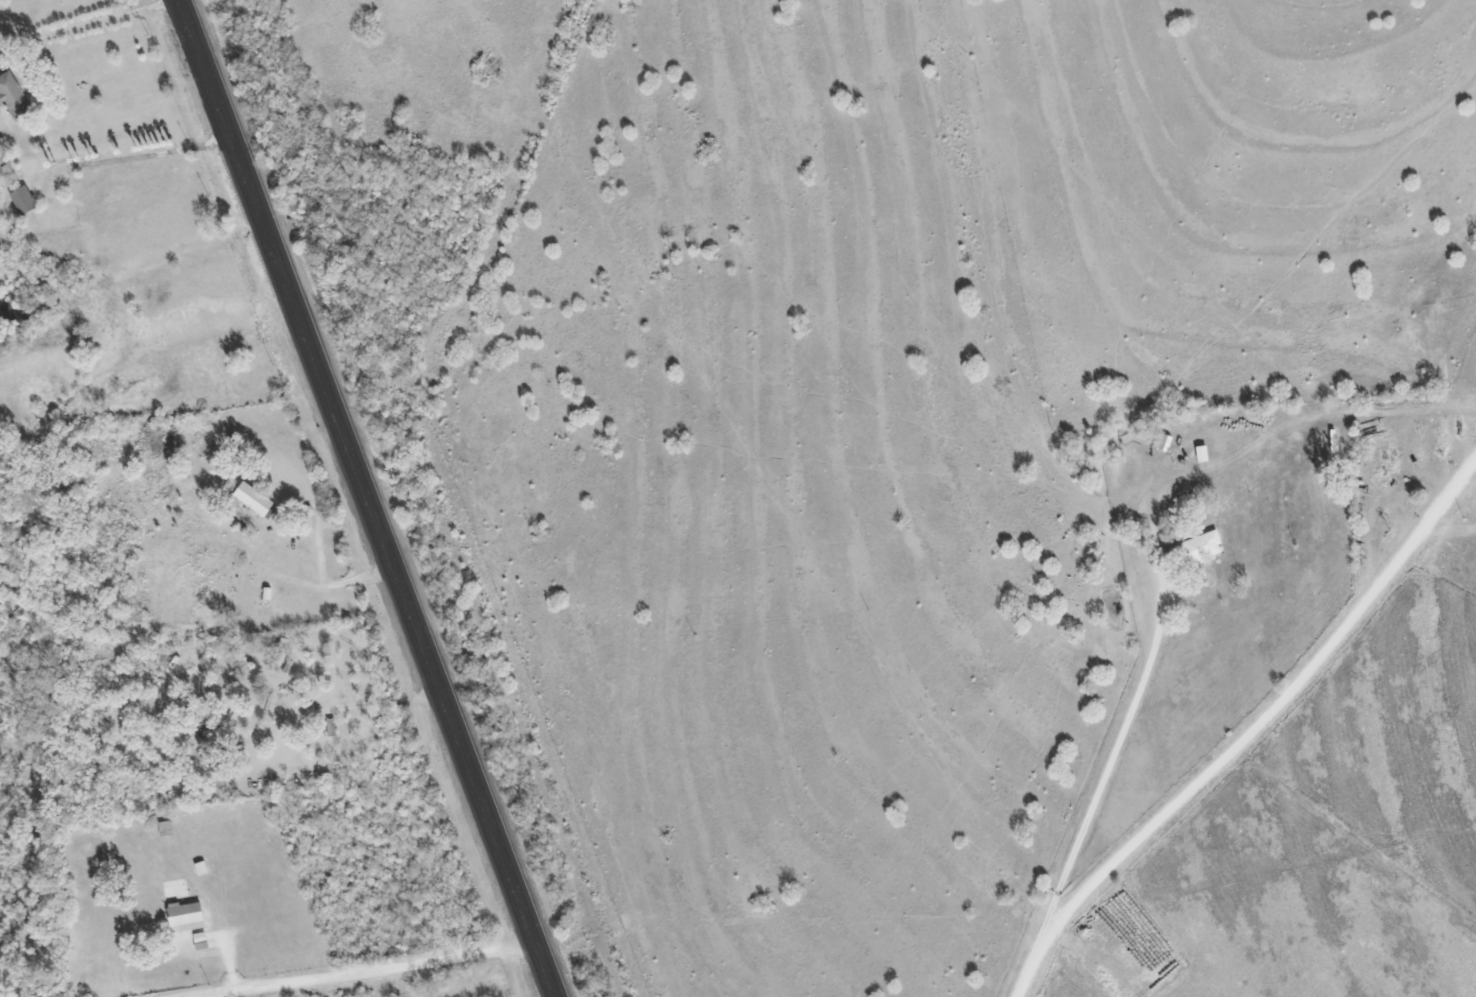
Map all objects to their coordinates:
building: (11, 94)
building: (0, 175)
building: (21, 199)
building: (1160, 441)
building: (251, 498)
road: (367, 498)
building: (1202, 545)
building: (328, 726)
road: (1248, 731)
building: (249, 734)
road: (1110, 759)
building: (414, 901)
building: (184, 916)
road: (365, 970)

